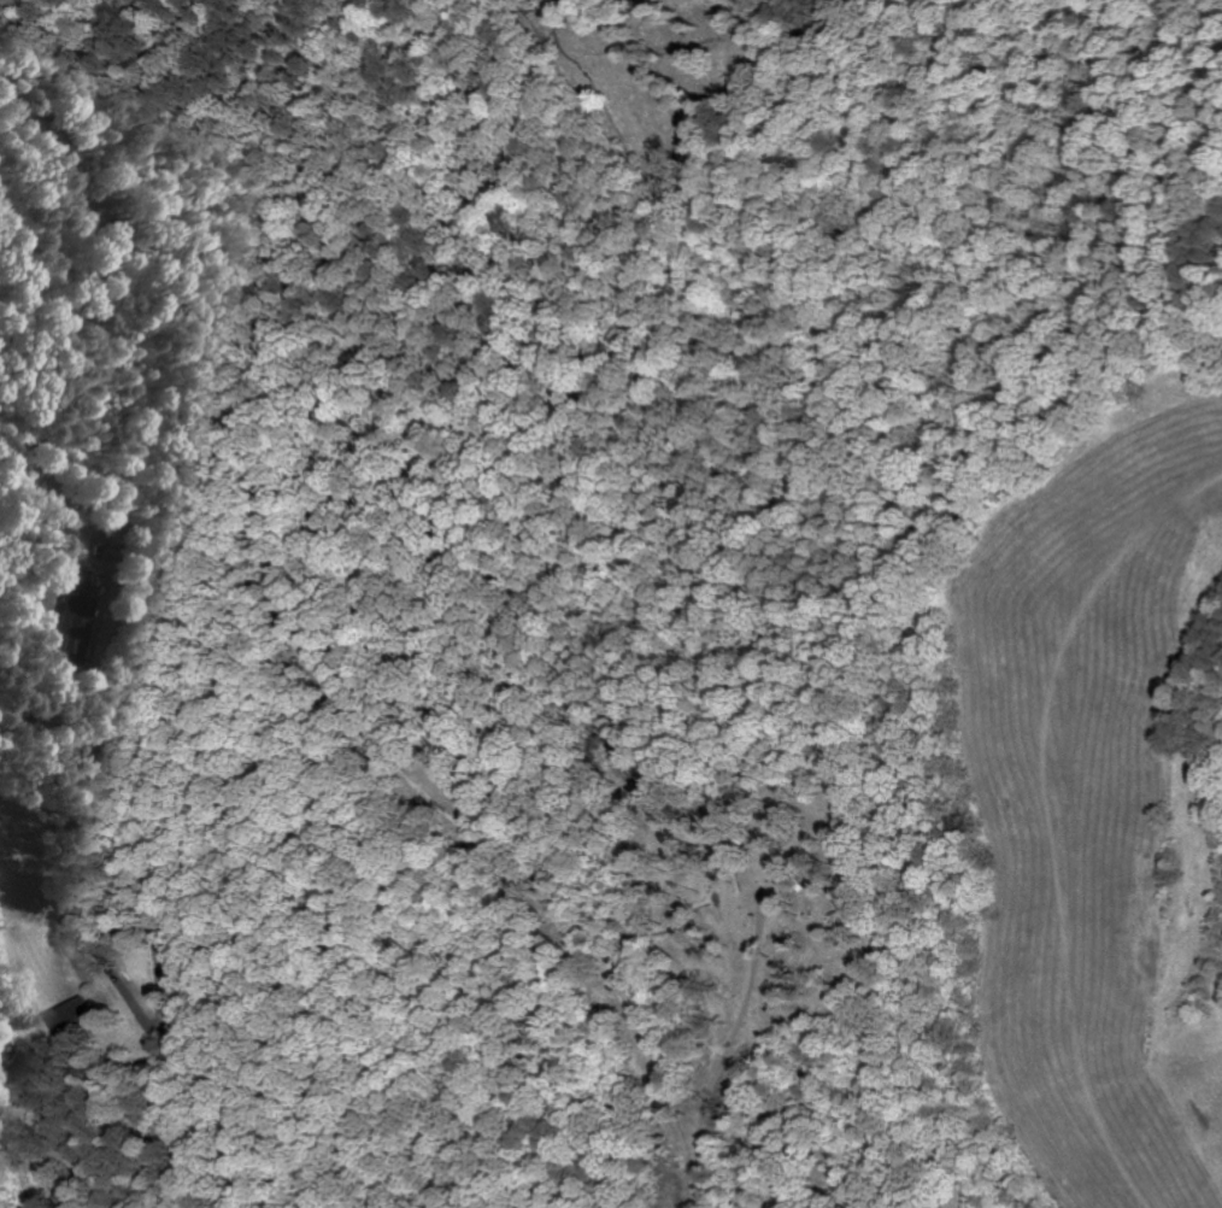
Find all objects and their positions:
building: (80, 610)
building: (72, 1015)
road: (147, 1022)

